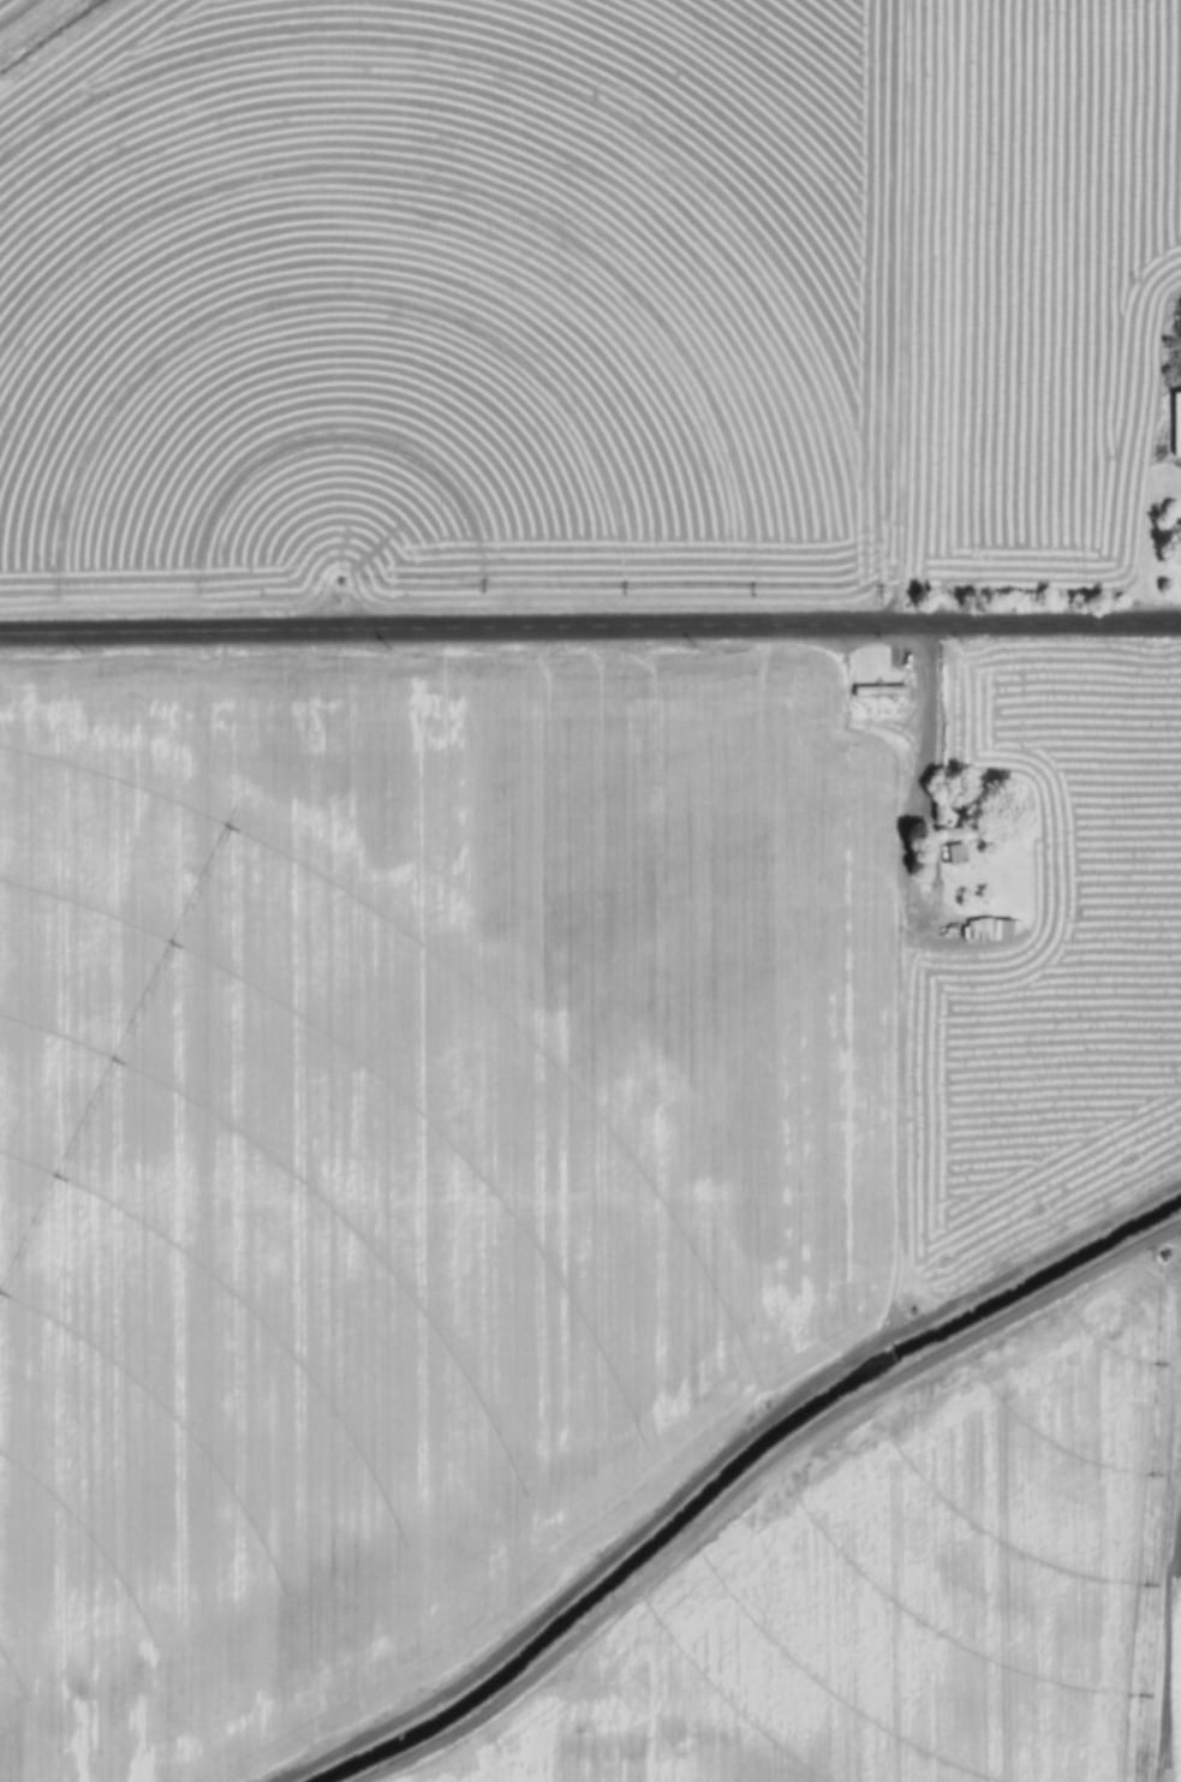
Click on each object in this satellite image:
building: (1180, 316)
building: (1176, 425)
road: (590, 628)
building: (878, 692)
building: (966, 842)
building: (988, 930)

